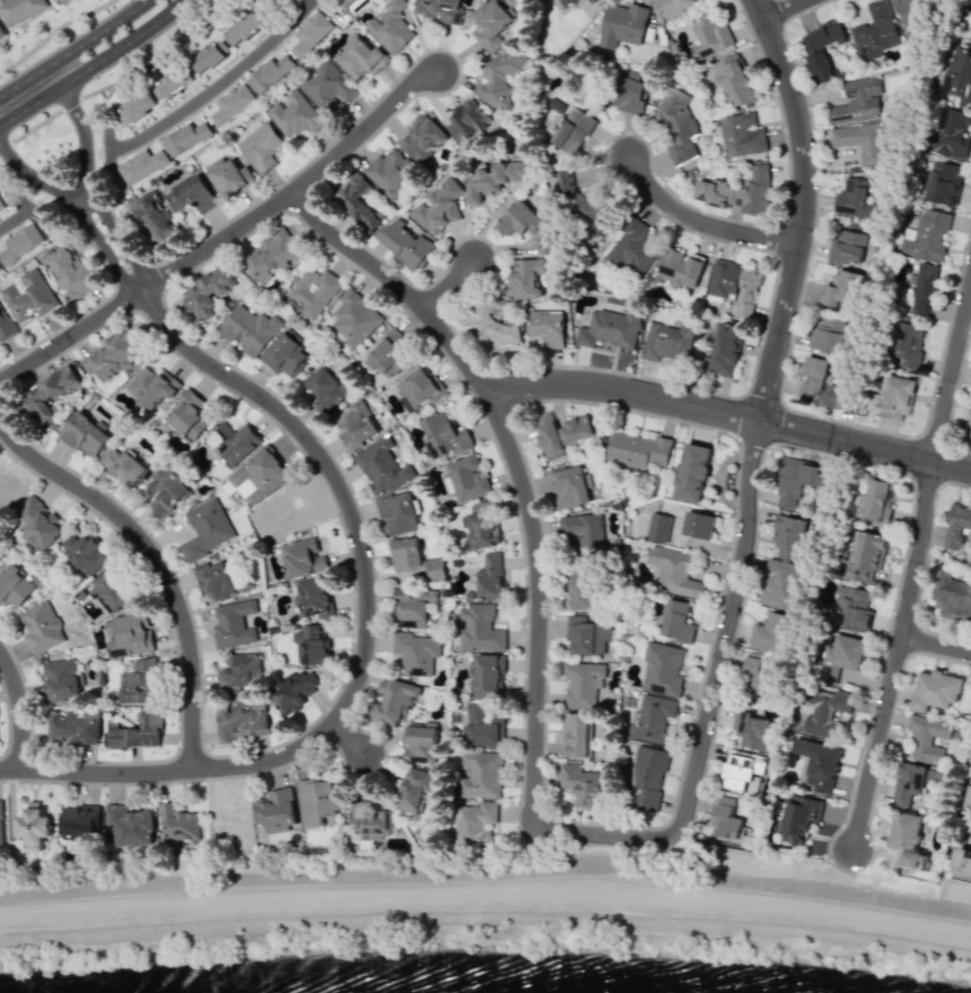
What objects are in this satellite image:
building: (591, 1)
building: (346, 2)
building: (569, 2)
building: (674, 6)
road: (786, 9)
building: (18, 10)
building: (439, 10)
building: (911, 16)
building: (491, 23)
building: (622, 25)
building: (390, 26)
building: (246, 28)
building: (875, 31)
building: (1, 33)
building: (311, 34)
road: (57, 35)
building: (711, 38)
road: (123, 45)
road: (73, 48)
building: (821, 48)
building: (210, 55)
building: (361, 59)
building: (269, 73)
building: (958, 75)
building: (498, 77)
building: (734, 81)
building: (174, 84)
road: (217, 84)
building: (327, 87)
building: (627, 94)
building: (858, 102)
road: (70, 103)
road: (30, 104)
building: (232, 104)
building: (138, 106)
building: (294, 114)
building: (468, 121)
building: (677, 124)
road: (36, 126)
building: (573, 131)
building: (950, 132)
building: (741, 135)
building: (186, 138)
building: (422, 138)
building: (862, 141)
road: (5, 145)
building: (142, 165)
building: (390, 172)
building: (227, 176)
road: (85, 178)
building: (494, 179)
building: (943, 183)
road: (295, 187)
building: (739, 192)
building: (191, 195)
building: (854, 199)
building: (360, 202)
building: (1, 205)
road: (28, 205)
road: (77, 206)
building: (439, 206)
road: (801, 208)
building: (594, 212)
road: (15, 216)
building: (155, 218)
road: (699, 222)
building: (528, 226)
building: (927, 235)
building: (20, 243)
building: (406, 245)
building: (632, 247)
building: (847, 247)
building: (271, 255)
building: (0, 269)
building: (680, 269)
building: (69, 272)
building: (526, 279)
road: (447, 281)
building: (735, 286)
building: (923, 288)
building: (841, 290)
building: (312, 292)
building: (207, 293)
building: (30, 296)
building: (355, 318)
building: (5, 325)
building: (494, 326)
building: (547, 327)
building: (249, 329)
building: (610, 329)
building: (829, 334)
road: (70, 336)
building: (667, 341)
building: (908, 344)
building: (725, 348)
building: (285, 354)
building: (114, 355)
building: (389, 356)
road: (786, 363)
road: (952, 376)
building: (824, 385)
building: (153, 386)
building: (325, 389)
building: (419, 390)
building: (48, 394)
road: (953, 394)
building: (893, 398)
road: (730, 414)
building: (187, 416)
building: (356, 426)
building: (968, 426)
building: (575, 429)
building: (548, 434)
building: (84, 435)
building: (444, 436)
road: (932, 436)
building: (235, 441)
building: (639, 449)
building: (124, 466)
building: (383, 467)
building: (693, 470)
building: (258, 476)
building: (465, 478)
building: (798, 481)
building: (570, 487)
building: (165, 491)
building: (875, 501)
building: (398, 514)
building: (37, 523)
building: (698, 525)
building: (957, 525)
building: (658, 527)
building: (205, 529)
building: (789, 536)
road: (360, 539)
road: (705, 544)
building: (84, 553)
building: (867, 555)
building: (584, 557)
building: (302, 558)
building: (414, 558)
road: (157, 562)
building: (674, 571)
building: (490, 577)
building: (216, 581)
building: (781, 585)
building: (14, 586)
building: (110, 590)
building: (952, 598)
building: (314, 599)
building: (411, 607)
building: (854, 608)
building: (677, 621)
building: (233, 624)
building: (41, 627)
building: (479, 628)
building: (771, 632)
building: (128, 634)
building: (587, 636)
road: (936, 643)
building: (312, 644)
building: (414, 653)
road: (895, 654)
building: (842, 657)
building: (662, 669)
building: (240, 670)
building: (758, 675)
building: (488, 676)
building: (61, 679)
building: (138, 682)
building: (583, 683)
building: (937, 690)
building: (291, 691)
building: (393, 700)
road: (21, 709)
building: (825, 711)
building: (652, 719)
building: (241, 721)
building: (483, 726)
building: (72, 728)
building: (136, 731)
building: (752, 731)
building: (579, 734)
road: (348, 737)
building: (928, 738)
building: (420, 742)
road: (532, 747)
building: (819, 764)
building: (741, 768)
road: (97, 774)
building: (480, 775)
building: (647, 777)
building: (908, 783)
building: (583, 784)
building: (414, 789)
building: (968, 796)
building: (317, 801)
building: (274, 811)
building: (800, 816)
building: (726, 819)
building: (79, 822)
building: (0, 823)
building: (178, 824)
building: (374, 824)
building: (473, 824)
building: (129, 825)
road: (659, 825)
building: (33, 826)
building: (908, 840)
road: (217, 856)
building: (962, 863)
road: (600, 880)
road: (486, 898)

